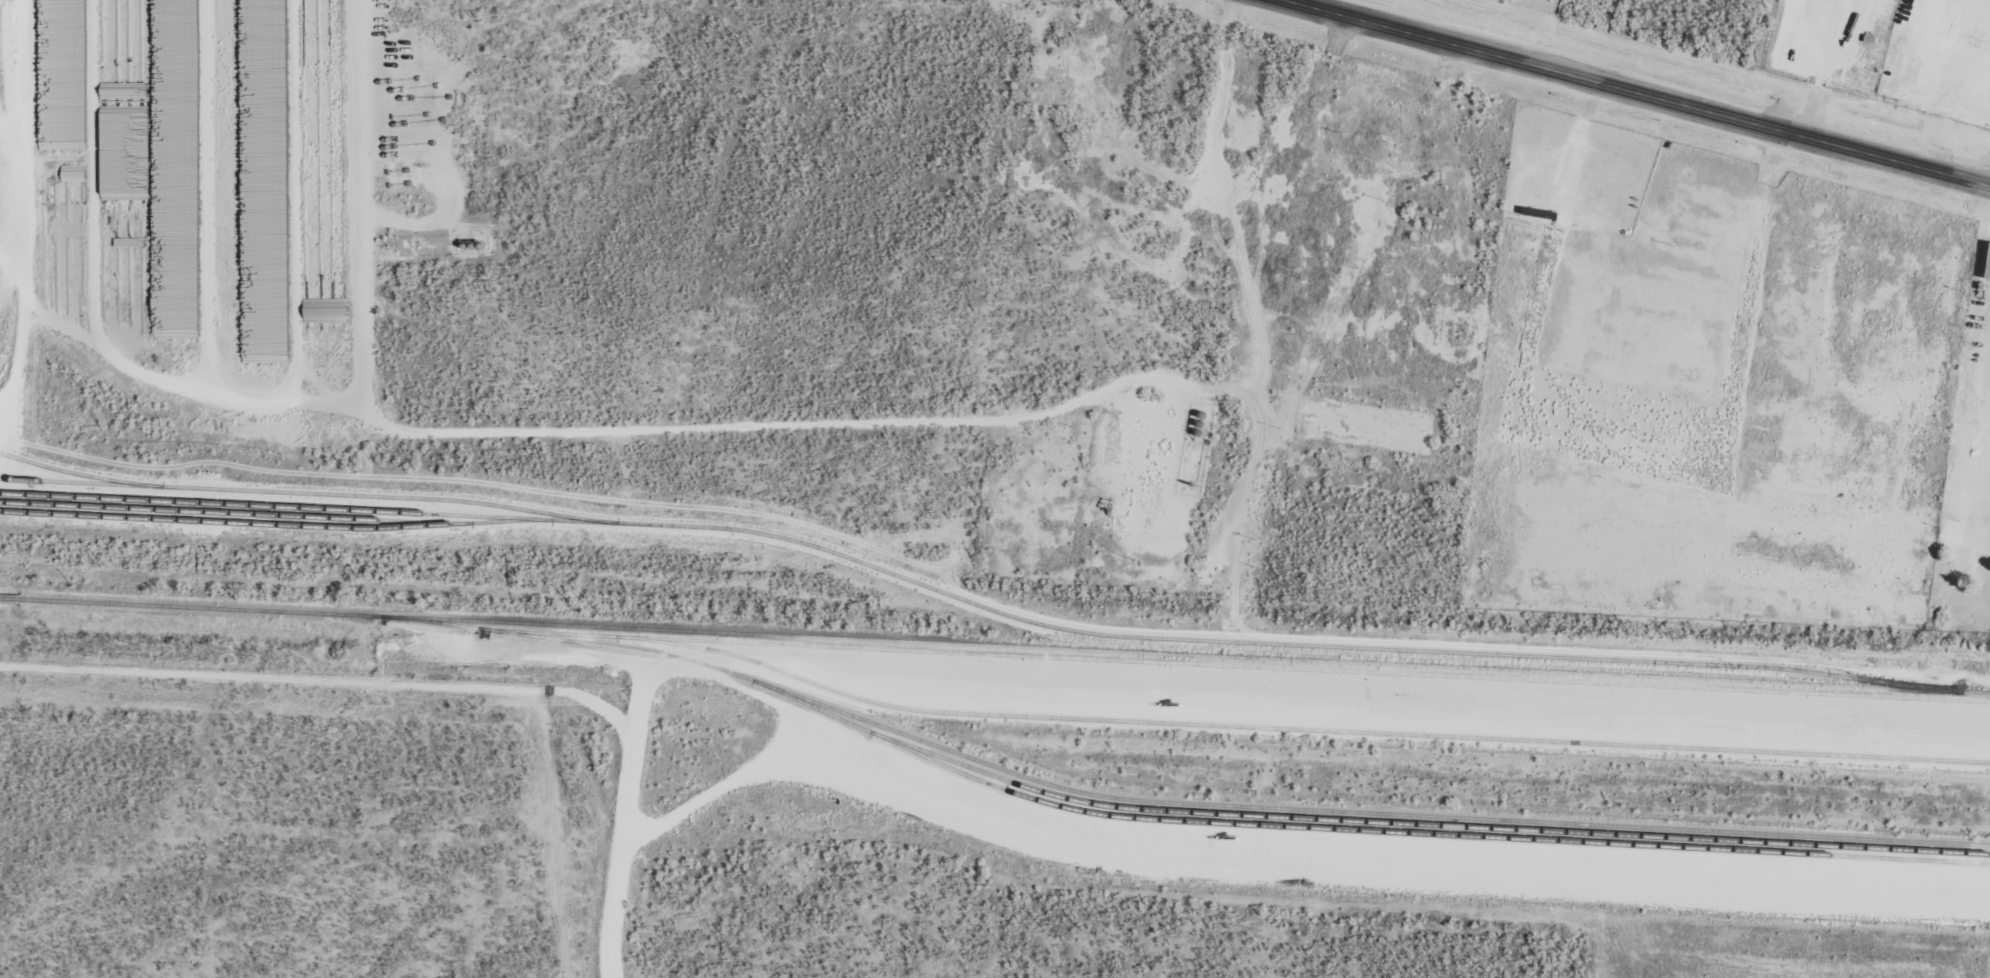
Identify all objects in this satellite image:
road: (1609, 96)
building: (1989, 274)
road: (1216, 279)
railway: (995, 645)
road: (995, 714)
road: (620, 837)

